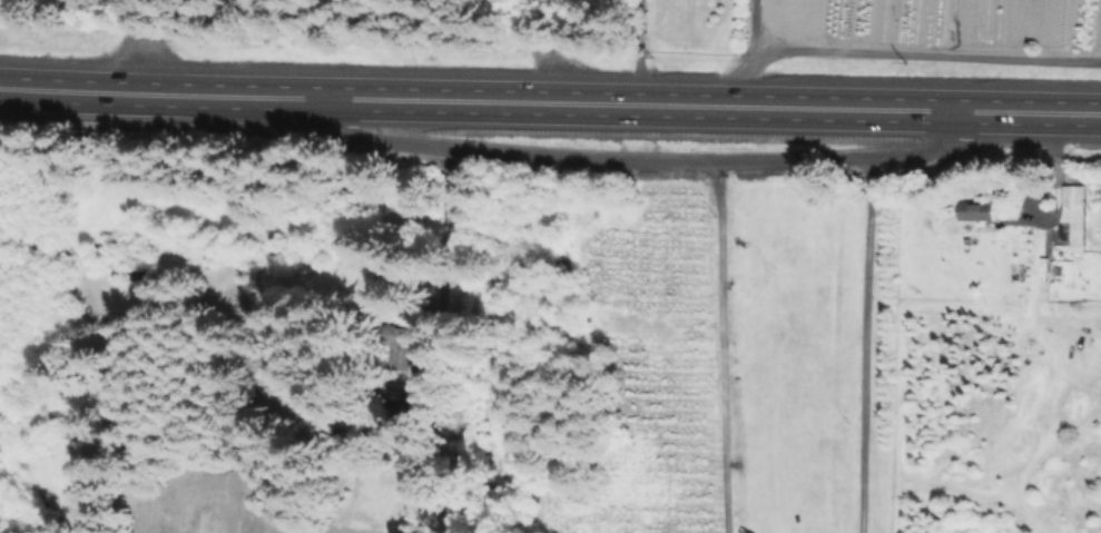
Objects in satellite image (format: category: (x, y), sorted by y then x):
road: (747, 20)
road: (138, 45)
road: (922, 47)
road: (637, 52)
road: (736, 75)
road: (550, 103)
road: (512, 158)
road: (849, 161)
building: (979, 209)
building: (1078, 214)
road: (862, 346)
road: (726, 352)

